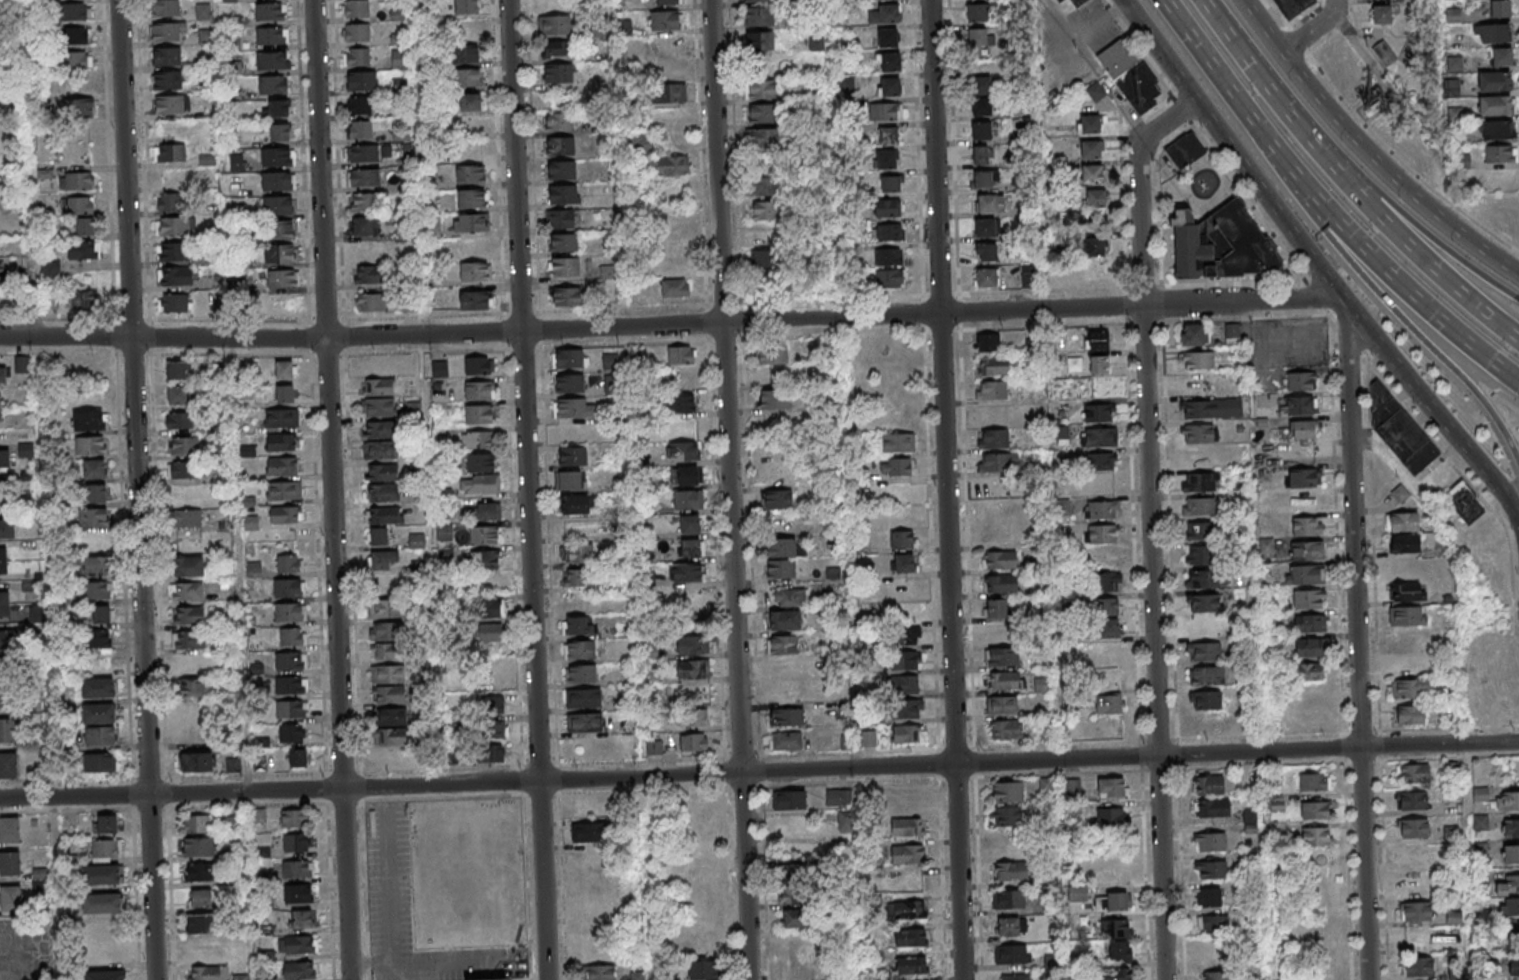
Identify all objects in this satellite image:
building: (757, 1)
building: (669, 2)
building: (552, 4)
building: (164, 7)
building: (467, 7)
building: (1292, 7)
building: (356, 9)
building: (1500, 9)
building: (203, 11)
building: (270, 11)
building: (976, 12)
building: (884, 13)
road: (1355, 13)
building: (73, 14)
building: (397, 14)
building: (1381, 14)
road: (1276, 16)
building: (759, 18)
building: (665, 20)
building: (1092, 21)
building: (555, 26)
road: (1315, 29)
road: (1347, 29)
building: (166, 31)
building: (356, 33)
building: (1491, 34)
building: (272, 35)
building: (888, 37)
building: (978, 37)
building: (398, 39)
road: (1299, 39)
road: (1324, 43)
building: (760, 44)
building: (666, 45)
road: (1141, 48)
building: (555, 50)
building: (465, 53)
building: (1384, 53)
building: (166, 56)
building: (356, 57)
building: (1501, 57)
building: (398, 59)
building: (272, 60)
building: (77, 61)
building: (889, 61)
road: (1211, 66)
building: (559, 74)
building: (1131, 75)
building: (469, 77)
building: (169, 80)
building: (361, 81)
building: (1494, 81)
building: (272, 84)
building: (983, 85)
building: (400, 86)
building: (889, 86)
building: (761, 90)
building: (671, 93)
building: (471, 101)
building: (172, 105)
building: (1495, 105)
building: (360, 106)
building: (983, 106)
building: (276, 107)
building: (76, 108)
building: (887, 111)
building: (763, 115)
building: (559, 123)
building: (1089, 123)
building: (981, 130)
building: (1495, 130)
building: (359, 131)
building: (279, 132)
building: (888, 135)
building: (763, 139)
building: (642, 143)
building: (473, 147)
building: (560, 147)
building: (1090, 148)
road: (1366, 151)
building: (169, 152)
building: (1186, 152)
building: (363, 154)
building: (981, 155)
building: (1498, 155)
building: (277, 157)
building: (886, 158)
road: (1402, 161)
building: (669, 165)
road: (922, 166)
road: (1284, 167)
building: (561, 170)
building: (470, 174)
building: (1092, 174)
building: (364, 179)
building: (984, 179)
building: (76, 181)
road: (1254, 181)
building: (277, 182)
road: (1347, 182)
building: (890, 183)
building: (764, 187)
building: (563, 194)
road: (1161, 197)
building: (472, 198)
building: (1095, 198)
building: (170, 202)
building: (364, 203)
building: (990, 203)
building: (77, 206)
building: (889, 206)
building: (277, 207)
building: (765, 211)
building: (560, 218)
building: (472, 222)
building: (85, 227)
building: (175, 227)
building: (363, 227)
building: (985, 227)
building: (279, 231)
building: (888, 231)
road: (1432, 233)
building: (675, 239)
building: (563, 243)
building: (1222, 244)
building: (1093, 246)
building: (473, 247)
building: (83, 251)
building: (174, 252)
building: (986, 252)
building: (279, 255)
building: (888, 256)
building: (763, 261)
building: (675, 263)
building: (564, 267)
building: (50, 269)
building: (475, 271)
building: (369, 275)
building: (1027, 276)
building: (176, 277)
building: (889, 278)
building: (986, 278)
building: (281, 279)
road: (1223, 283)
building: (675, 287)
building: (0, 296)
road: (1411, 296)
building: (566, 297)
building: (475, 299)
building: (81, 301)
road: (781, 301)
building: (49, 303)
building: (174, 303)
building: (370, 303)
road: (670, 324)
road: (1063, 328)
road: (1417, 332)
building: (1194, 334)
building: (1232, 335)
building: (1096, 339)
building: (988, 342)
road: (627, 345)
building: (1032, 349)
building: (680, 355)
building: (772, 355)
building: (568, 358)
building: (1197, 360)
building: (21, 365)
building: (479, 365)
building: (993, 365)
building: (1099, 365)
building: (439, 368)
building: (177, 369)
building: (284, 370)
building: (218, 371)
building: (3, 375)
building: (1300, 380)
building: (570, 383)
building: (378, 386)
building: (991, 389)
building: (479, 390)
building: (285, 393)
building: (177, 394)
building: (774, 399)
building: (680, 402)
building: (1299, 405)
building: (379, 407)
building: (574, 407)
building: (0, 408)
building: (1211, 408)
building: (1098, 412)
building: (479, 413)
building: (281, 417)
building: (897, 418)
building: (88, 420)
building: (180, 420)
road: (1334, 422)
road: (431, 428)
building: (379, 429)
building: (1302, 429)
building: (1401, 429)
road: (1132, 431)
building: (1198, 433)
building: (1099, 436)
building: (993, 438)
building: (478, 439)
road: (1457, 440)
building: (281, 442)
building: (898, 442)
building: (89, 445)
building: (184, 446)
building: (380, 449)
building: (683, 450)
building: (572, 456)
building: (5, 458)
building: (1101, 461)
building: (480, 462)
building: (998, 462)
building: (281, 465)
building: (895, 466)
building: (94, 469)
building: (183, 471)
building: (381, 472)
building: (684, 475)
building: (1301, 477)
building: (1239, 478)
building: (568, 480)
building: (1201, 482)
building: (480, 483)
building: (992, 487)
building: (284, 489)
road: (967, 489)
road: (42, 490)
road: (138, 490)
road: (332, 490)
road: (529, 490)
road: (733, 490)
road: (949, 490)
building: (3, 492)
building: (382, 492)
building: (95, 493)
building: (186, 495)
building: (777, 498)
building: (688, 499)
building: (1467, 501)
building: (575, 504)
building: (1198, 507)
building: (1101, 509)
building: (486, 510)
building: (285, 514)
building: (383, 515)
building: (92, 516)
building: (187, 519)
building: (1403, 522)
building: (250, 523)
building: (690, 523)
building: (1307, 525)
building: (7, 528)
road: (1155, 528)
building: (1202, 530)
road: (1172, 532)
building: (1101, 533)
building: (484, 535)
building: (378, 536)
road: (550, 538)
building: (903, 539)
building: (94, 541)
building: (1404, 543)
building: (691, 547)
building: (1307, 550)
building: (576, 553)
building: (1200, 554)
building: (1104, 558)
building: (485, 559)
building: (3, 560)
building: (383, 560)
building: (999, 560)
building: (289, 563)
building: (903, 563)
road: (241, 565)
building: (94, 566)
building: (188, 566)
building: (781, 568)
building: (253, 569)
building: (687, 572)
building: (1305, 574)
building: (578, 577)
building: (1202, 578)
building: (1108, 581)
building: (385, 584)
building: (1001, 584)
building: (288, 588)
building: (97, 590)
building: (187, 591)
building: (1407, 591)
building: (789, 597)
building: (1309, 598)
building: (1204, 602)
building: (4, 603)
building: (1108, 606)
building: (488, 607)
building: (386, 608)
building: (996, 608)
building: (291, 611)
building: (101, 615)
building: (188, 615)
building: (1407, 615)
building: (784, 620)
building: (1309, 623)
building: (578, 625)
building: (1105, 627)
building: (1202, 627)
building: (386, 631)
building: (1000, 632)
building: (489, 633)
building: (908, 634)
building: (292, 636)
road: (937, 638)
building: (98, 639)
building: (188, 639)
building: (11, 640)
building: (693, 644)
road: (1361, 644)
building: (783, 645)
building: (1309, 648)
building: (579, 649)
building: (386, 651)
building: (1204, 651)
building: (1002, 656)
building: (290, 660)
building: (905, 660)
building: (8, 667)
building: (693, 668)
building: (783, 669)
building: (1308, 672)
building: (581, 673)
building: (387, 674)
building: (1206, 675)
building: (1005, 680)
road: (758, 682)
building: (904, 683)
building: (291, 684)
building: (98, 687)
building: (192, 687)
building: (1410, 688)
building: (782, 693)
building: (389, 695)
building: (9, 697)
building: (583, 697)
building: (1205, 699)
building: (1108, 703)
building: (493, 704)
building: (1002, 704)
building: (290, 708)
building: (904, 708)
building: (98, 713)
building: (1409, 714)
building: (391, 717)
building: (786, 717)
building: (696, 718)
building: (585, 721)
building: (1208, 724)
building: (494, 728)
building: (1005, 728)
building: (7, 730)
building: (291, 733)
building: (907, 733)
building: (99, 736)
building: (392, 737)
building: (785, 740)
building: (869, 740)
road: (1161, 741)
building: (846, 742)
building: (693, 743)
building: (653, 748)
building: (492, 753)
building: (297, 758)
building: (197, 761)
building: (99, 762)
building: (8, 764)
building: (233, 765)
building: (1452, 769)
road: (759, 771)
building: (1417, 773)
building: (1315, 782)
building: (1046, 785)
building: (1212, 785)
building: (1112, 787)
building: (1010, 791)
building: (1480, 794)
building: (907, 797)
building: (789, 799)
building: (1512, 800)
building: (1415, 801)
building: (841, 807)
building: (1216, 809)
building: (1316, 811)
building: (1010, 816)
building: (294, 818)
building: (1110, 818)
building: (105, 823)
building: (196, 823)
building: (233, 823)
building: (907, 826)
building: (1513, 827)
building: (9, 829)
building: (1416, 829)
building: (588, 831)
building: (1318, 836)
road: (1385, 837)
building: (296, 842)
building: (1213, 842)
building: (198, 846)
building: (105, 849)
building: (907, 854)
building: (1417, 854)
building: (1512, 854)
road: (1349, 856)
building: (10, 862)
road: (1470, 862)
road: (766, 867)
building: (298, 869)
building: (1215, 870)
building: (199, 871)
building: (1014, 871)
building: (1115, 873)
building: (101, 874)
building: (699, 874)
road: (647, 878)
building: (907, 882)
building: (1512, 883)
building: (794, 884)
building: (298, 893)
building: (200, 897)
building: (1209, 897)
building: (10, 898)
building: (1012, 899)
building: (1110, 900)
building: (102, 903)
building: (1512, 906)
building: (913, 909)
building: (1419, 911)
building: (1453, 917)
building: (302, 918)
building: (795, 919)
building: (201, 923)
building: (1217, 925)
building: (1009, 927)
building: (1117, 928)
building: (910, 938)
building: (1515, 938)
building: (298, 944)
building: (202, 949)
building: (1121, 951)
building: (1015, 954)
road: (424, 961)
building: (1515, 965)
building: (910, 966)
building: (1420, 966)
building: (1324, 969)
building: (301, 970)
building: (703, 970)
building: (601, 972)
building: (204, 973)
building: (1120, 974)
building: (105, 975)
building: (1219, 975)
building: (1019, 977)
building: (491, 979)

